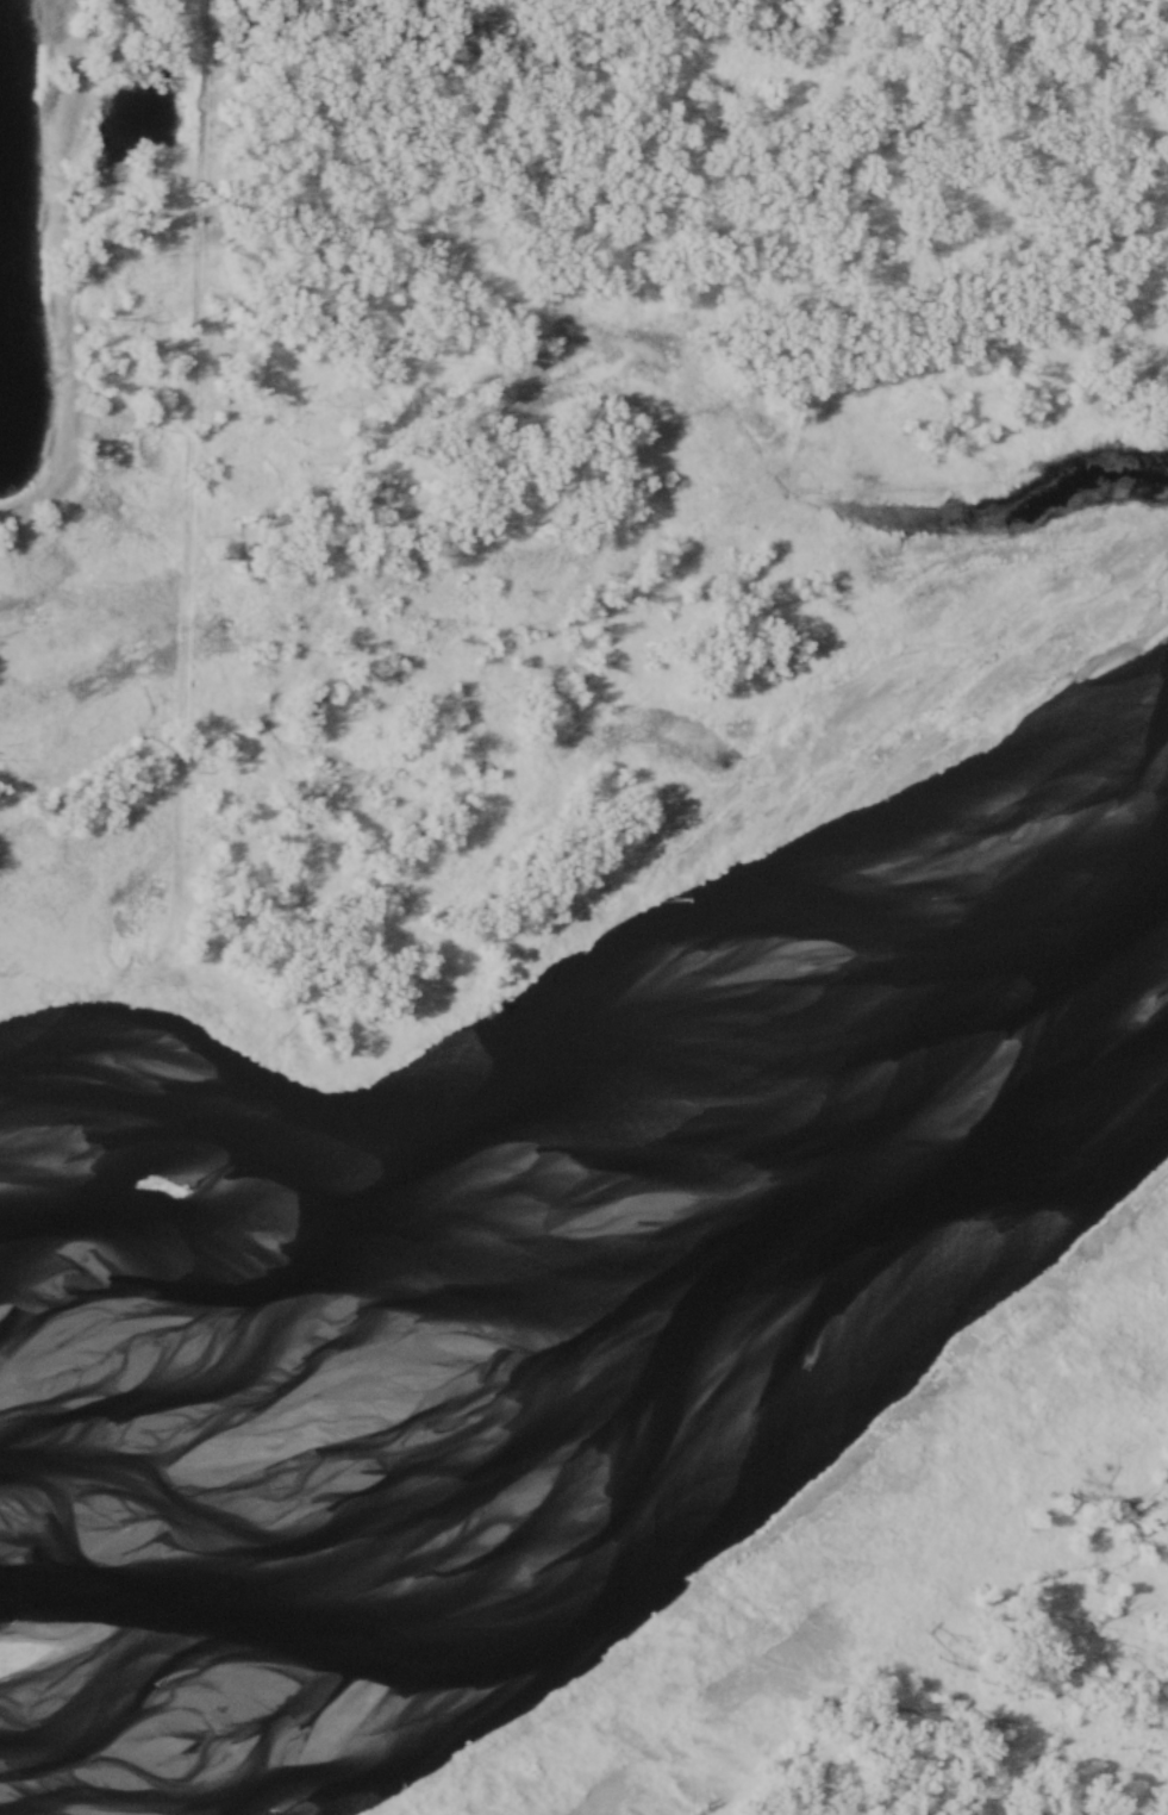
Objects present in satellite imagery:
river: (662, 1384)

